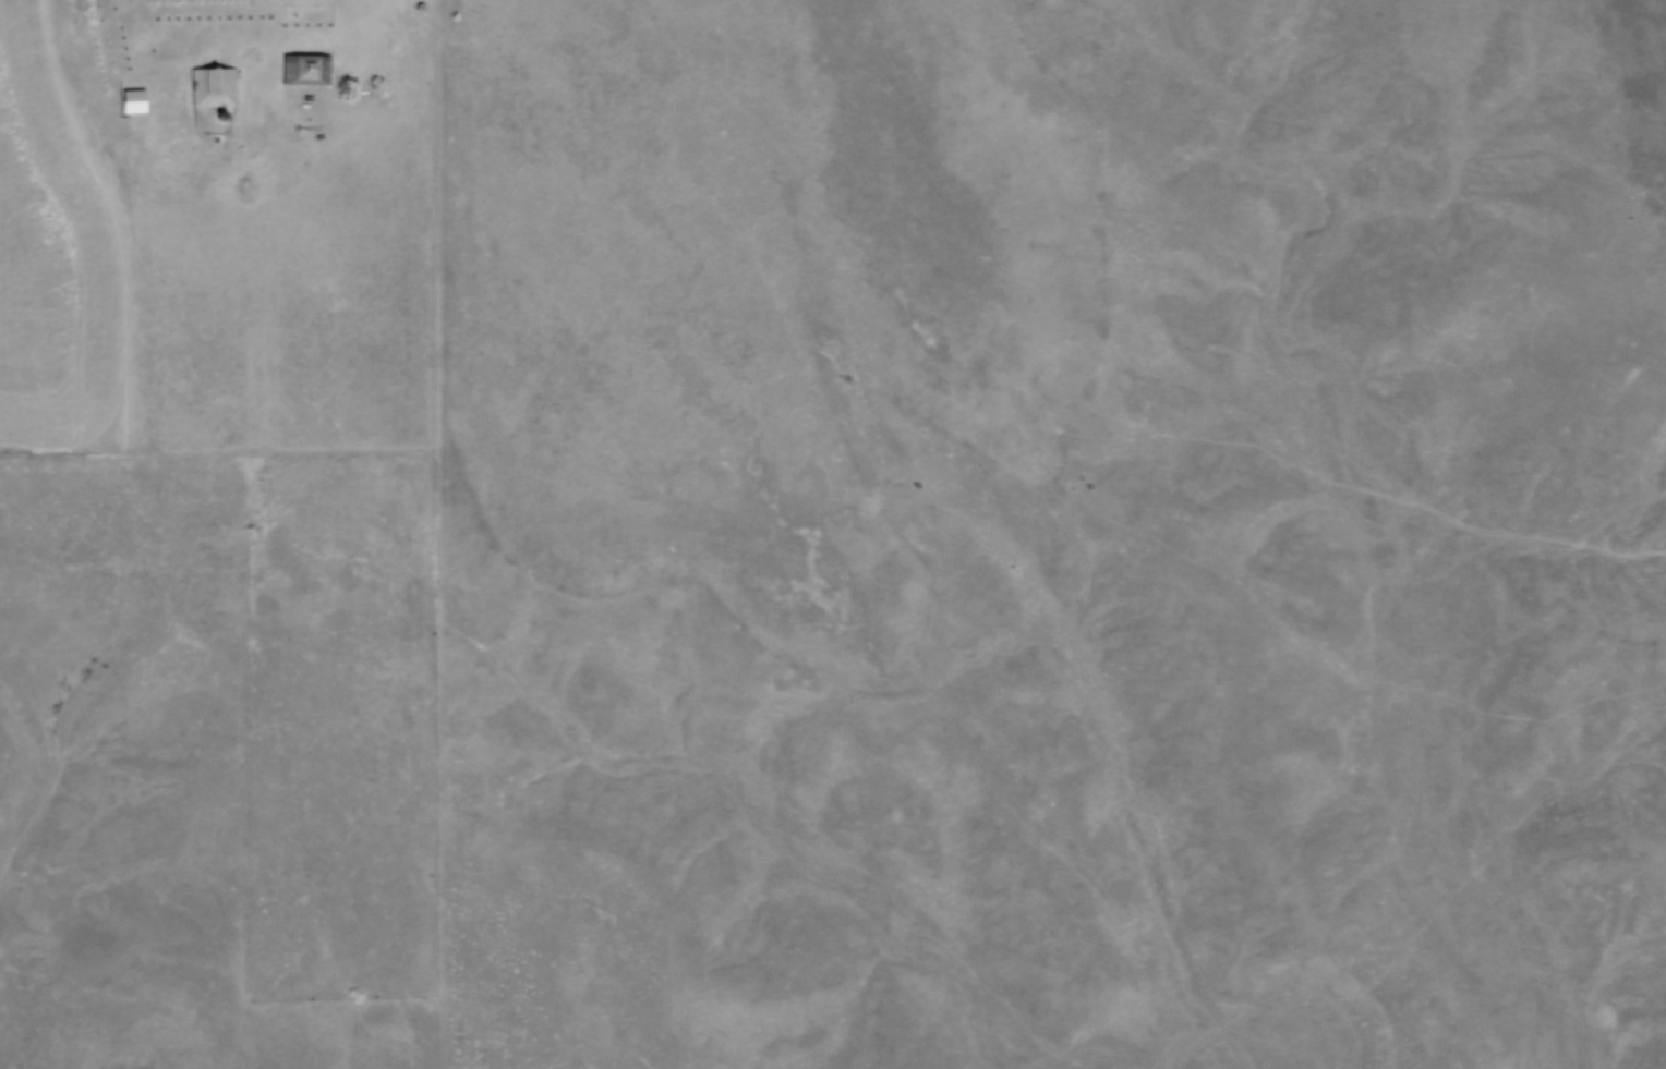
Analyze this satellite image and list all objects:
building: (307, 68)
building: (215, 87)
crop: (58, 259)

